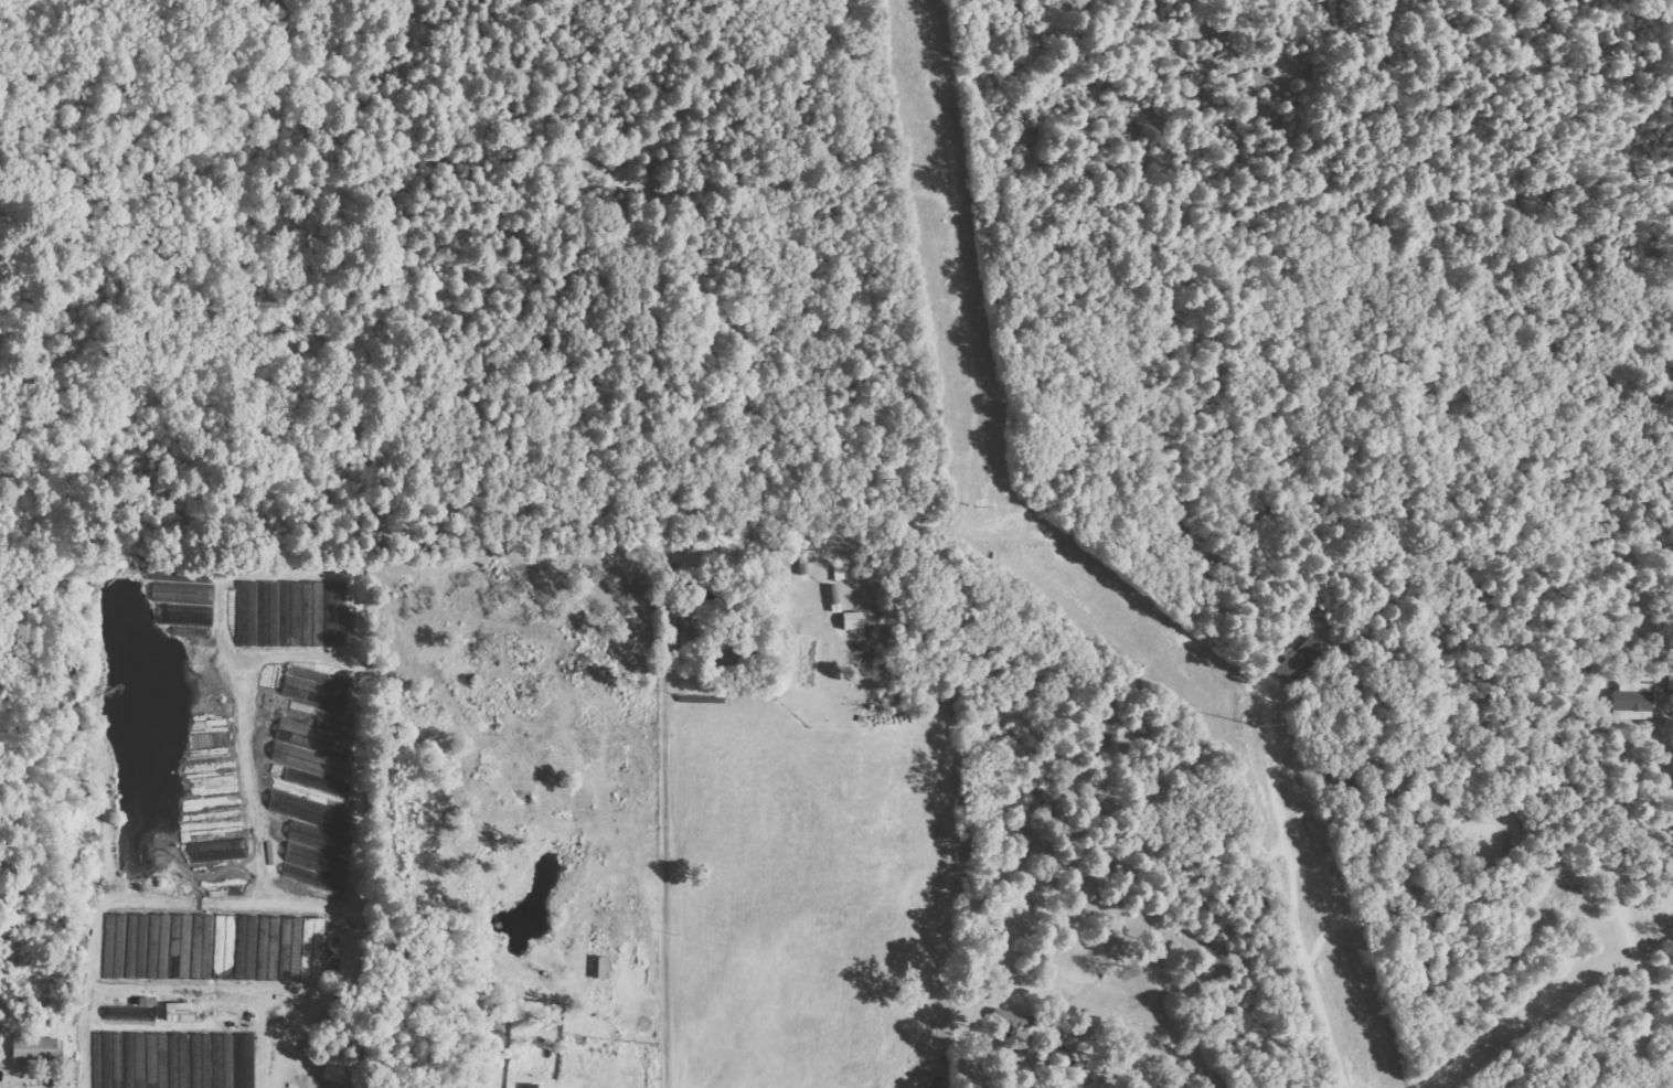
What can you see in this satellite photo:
building: (832, 598)
building: (184, 601)
building: (849, 620)
building: (1300, 662)
building: (313, 687)
building: (1632, 701)
building: (311, 753)
building: (313, 841)
building: (215, 850)
building: (214, 948)
building: (599, 968)
building: (131, 1011)
building: (175, 1011)
building: (1008, 1021)
building: (32, 1048)
building: (174, 1060)
building: (528, 1086)

